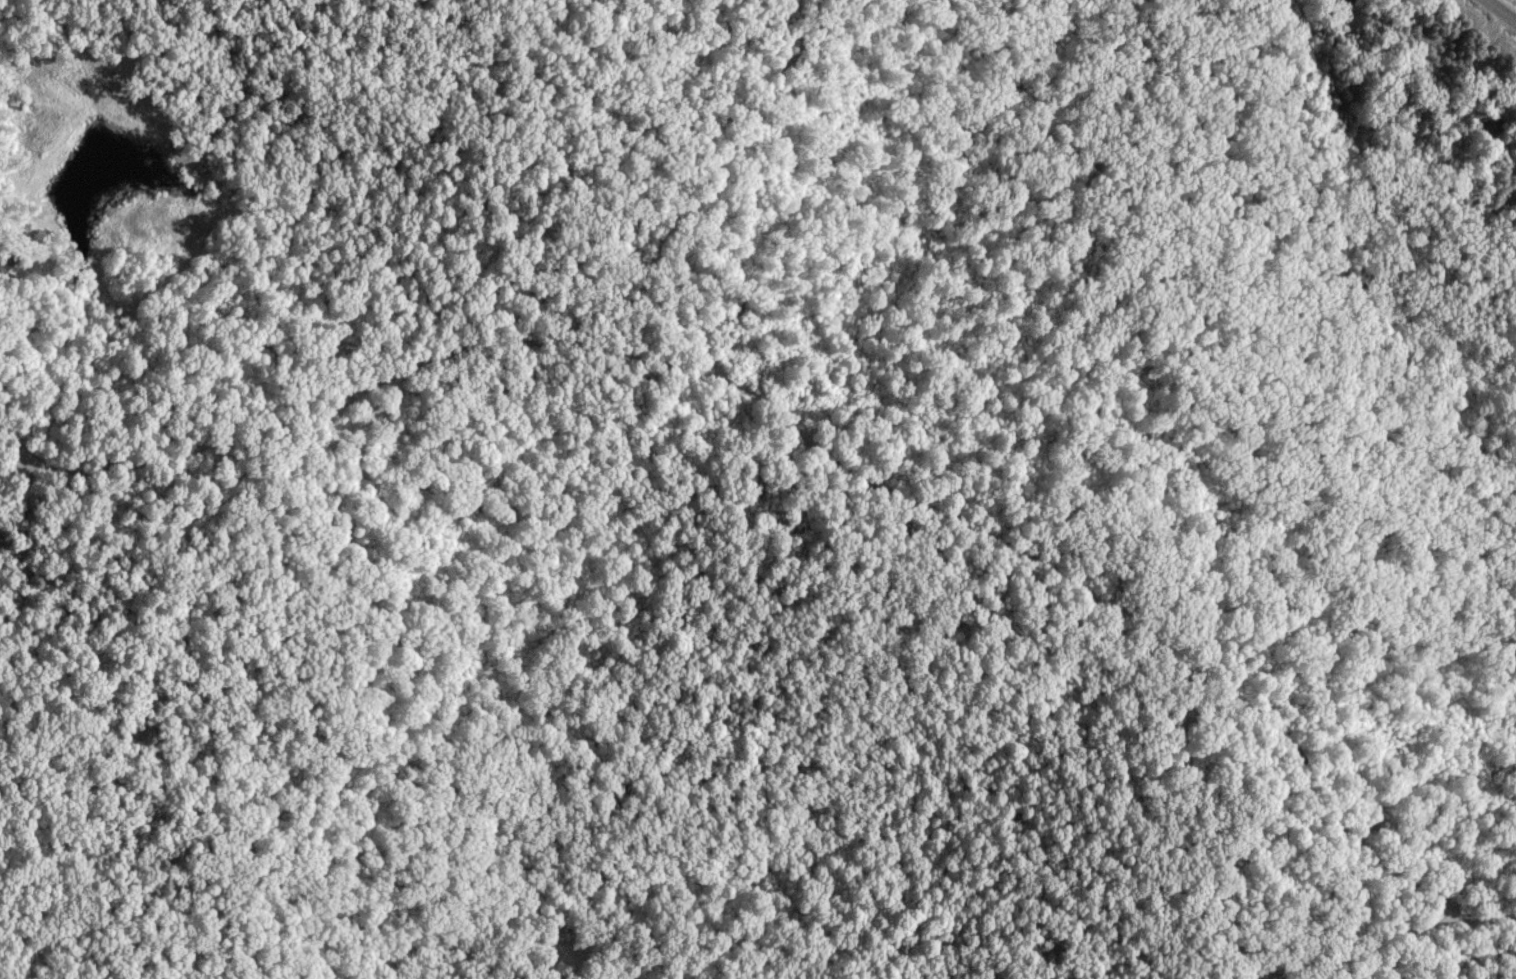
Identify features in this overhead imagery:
road: (1499, 12)
road: (818, 452)
road: (1357, 945)

